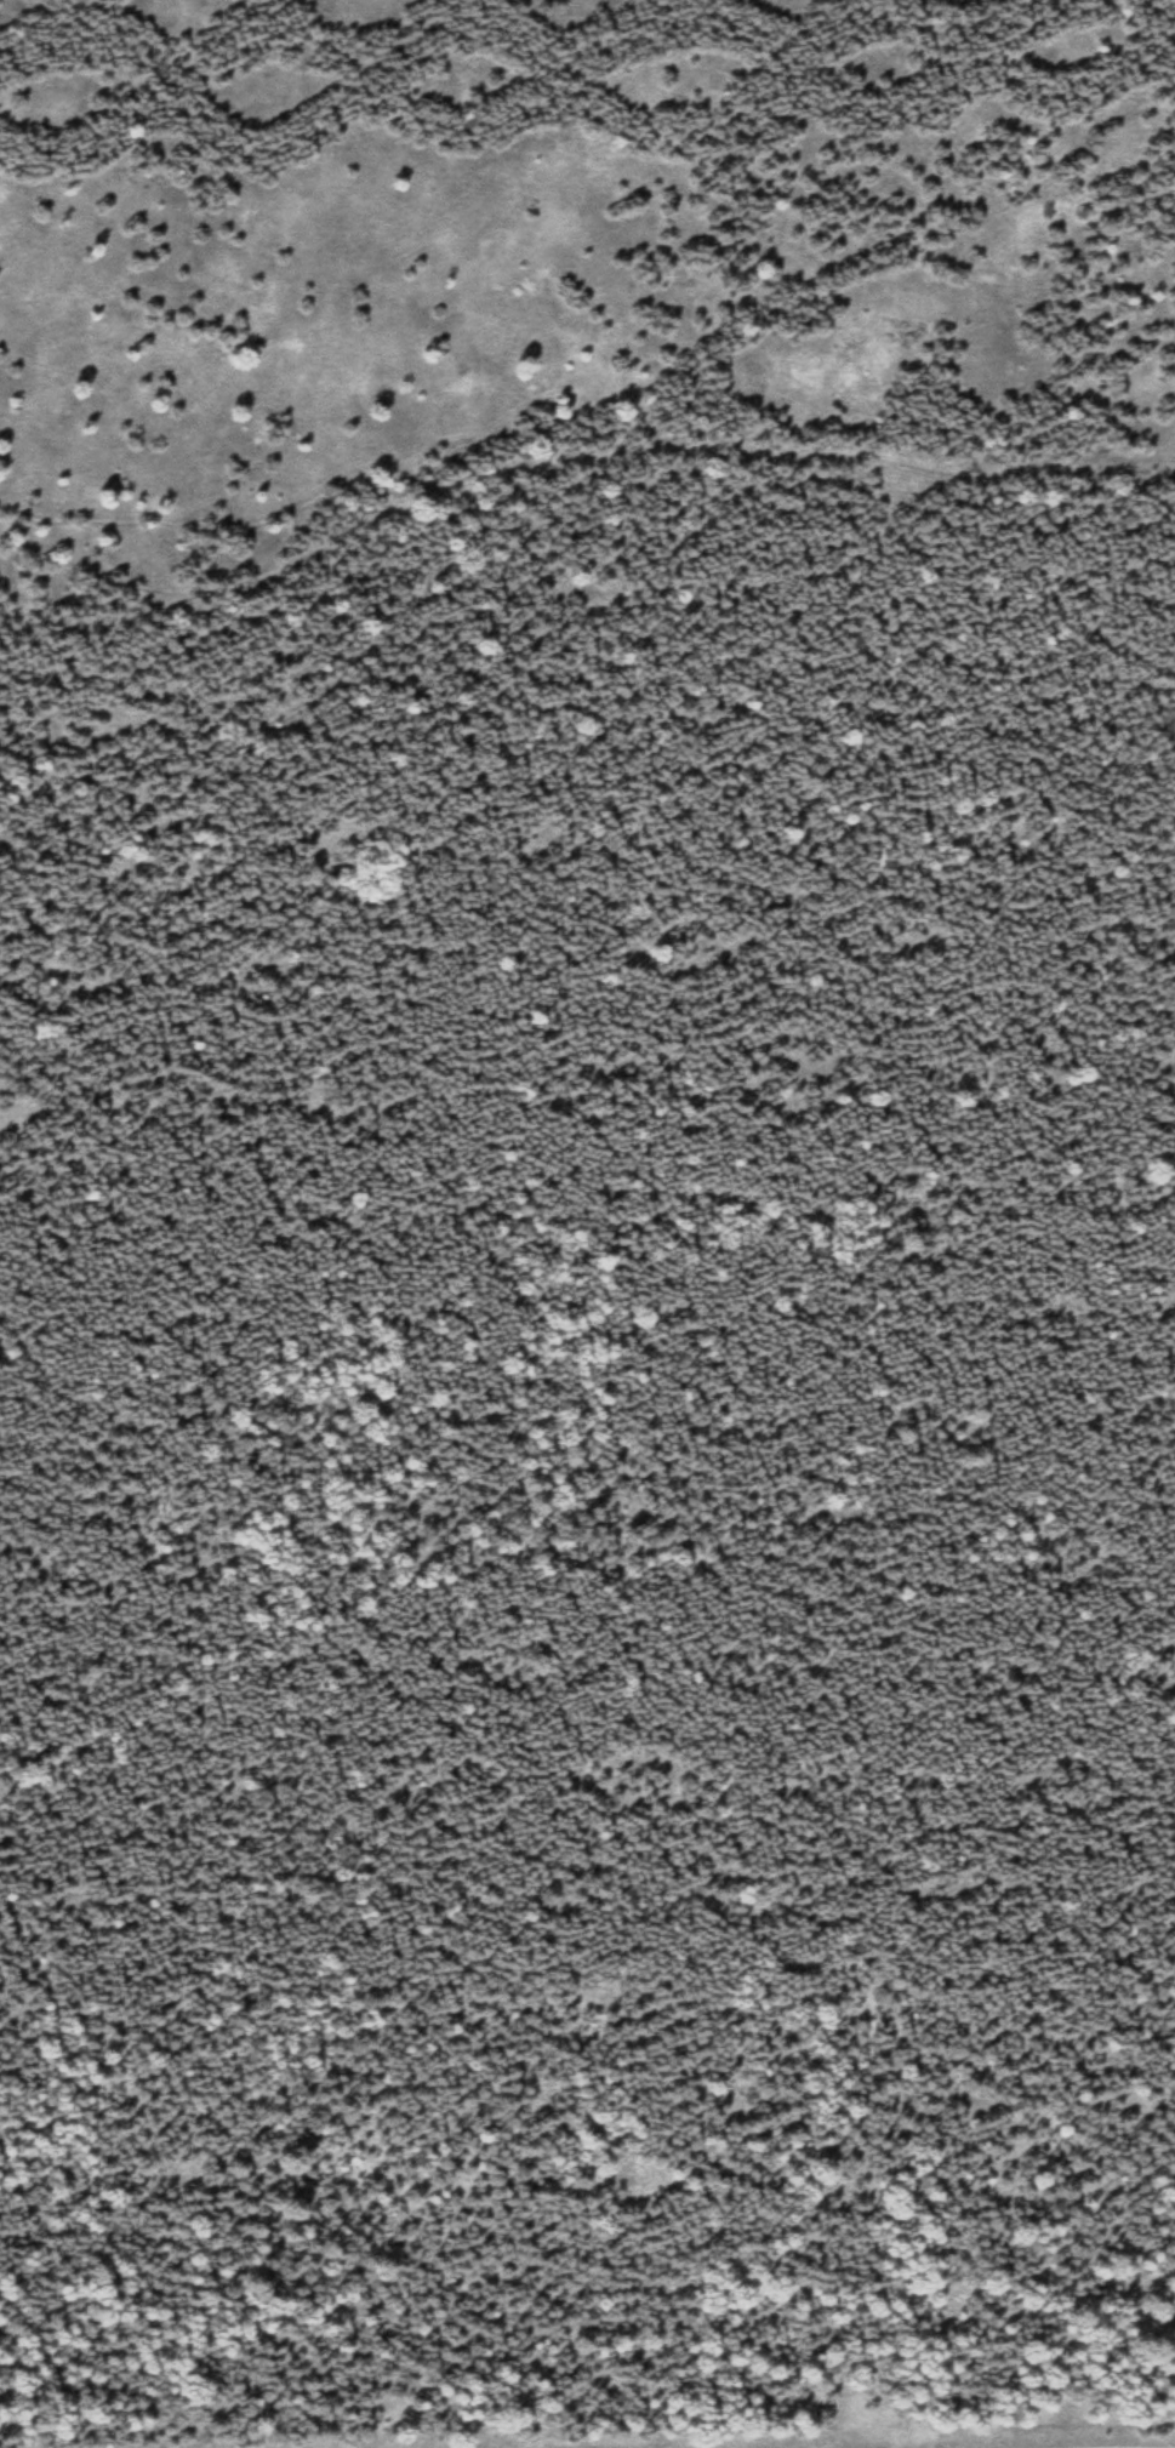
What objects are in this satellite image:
road: (1091, 490)

